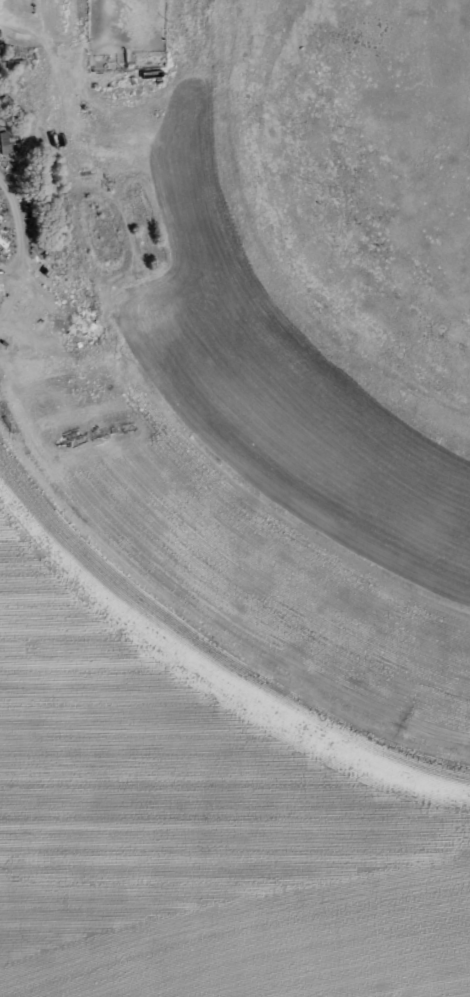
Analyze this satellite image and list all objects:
road: (33, 28)

